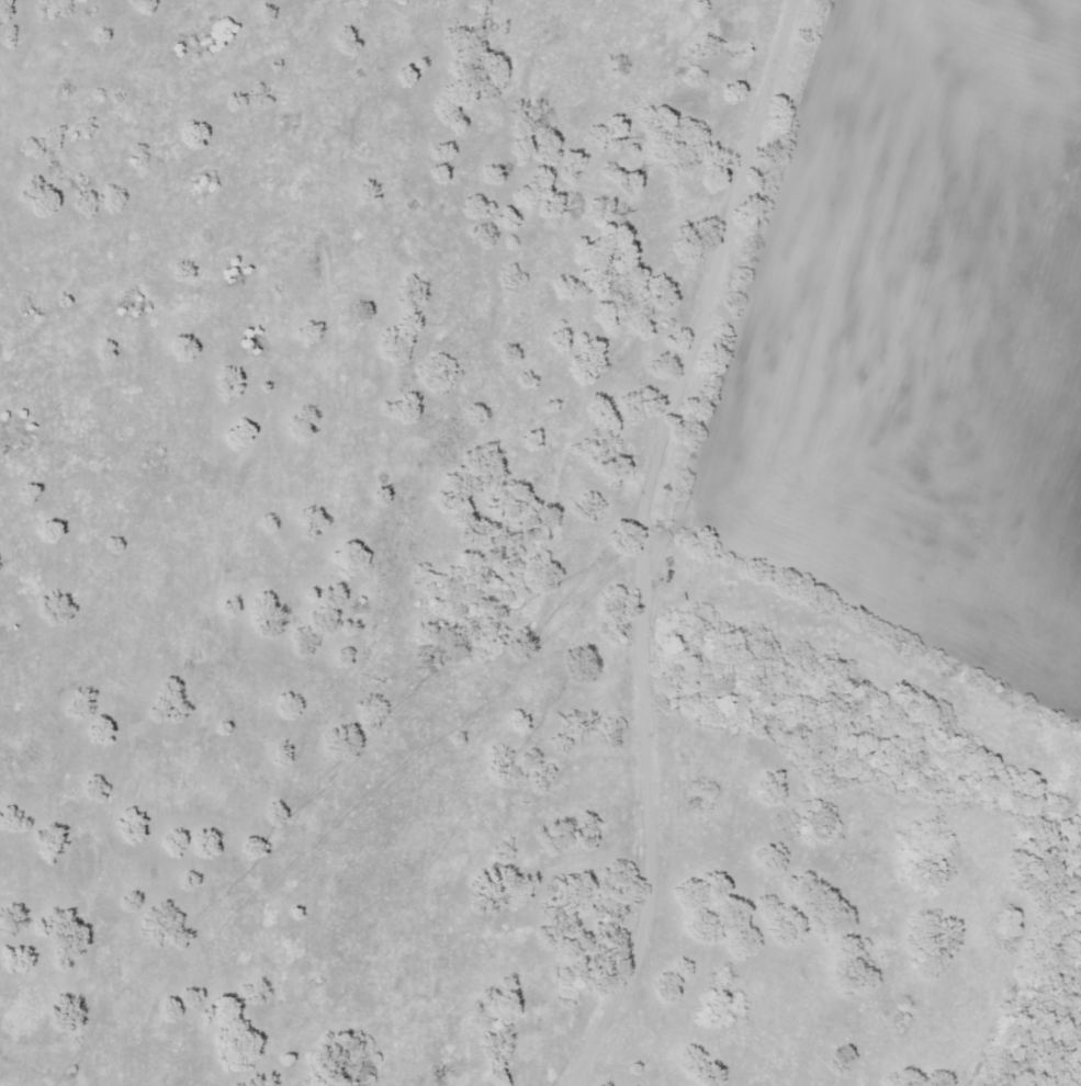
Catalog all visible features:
road: (640, 540)

